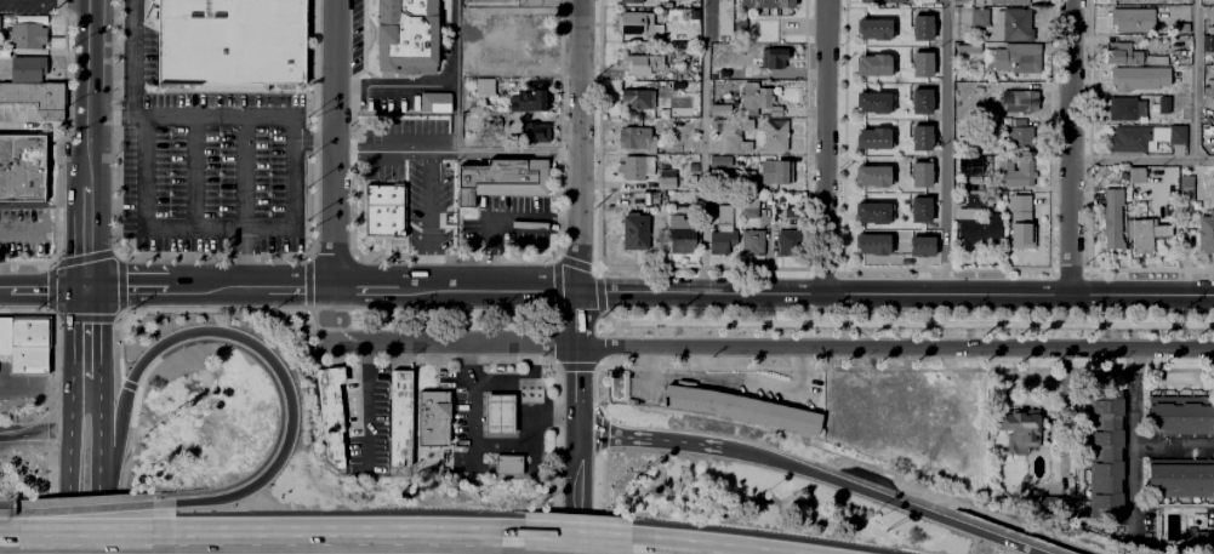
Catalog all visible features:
building: (631, 0)
building: (659, 0)
building: (883, 1)
building: (925, 1)
building: (1004, 2)
building: (766, 4)
road: (132, 15)
building: (725, 17)
building: (1133, 21)
building: (1005, 22)
building: (634, 23)
building: (873, 29)
building: (922, 29)
building: (404, 34)
building: (29, 35)
building: (229, 42)
building: (1208, 42)
road: (86, 45)
building: (961, 47)
building: (1118, 53)
building: (773, 58)
building: (1155, 58)
building: (1011, 59)
building: (644, 64)
building: (748, 65)
building: (873, 65)
building: (922, 65)
building: (28, 68)
road: (131, 70)
road: (456, 75)
building: (1139, 79)
road: (1193, 79)
road: (394, 85)
building: (485, 87)
building: (671, 87)
building: (34, 93)
building: (638, 96)
building: (936, 98)
building: (526, 99)
building: (760, 99)
building: (1020, 101)
building: (432, 102)
building: (921, 102)
building: (872, 103)
building: (1164, 105)
building: (1125, 108)
building: (662, 110)
building: (720, 110)
road: (114, 113)
road: (44, 127)
building: (489, 128)
building: (534, 133)
building: (936, 135)
building: (1176, 135)
building: (1207, 135)
building: (734, 136)
building: (774, 136)
building: (1020, 137)
road: (87, 138)
building: (636, 138)
building: (873, 138)
building: (922, 138)
road: (312, 139)
building: (1129, 139)
road: (580, 144)
road: (703, 145)
road: (823, 145)
road: (945, 145)
road: (1071, 145)
road: (456, 150)
road: (1142, 159)
building: (969, 166)
building: (637, 169)
building: (22, 170)
road: (194, 170)
road: (332, 170)
road: (243, 171)
building: (934, 171)
building: (1022, 171)
parking lot: (218, 173)
building: (776, 173)
building: (921, 175)
building: (1136, 175)
building: (872, 176)
building: (502, 179)
building: (667, 179)
building: (751, 179)
building: (1186, 188)
building: (393, 190)
building: (668, 195)
building: (975, 200)
road: (142, 202)
parking lot: (432, 204)
building: (921, 210)
building: (872, 212)
building: (750, 213)
building: (791, 213)
building: (968, 213)
building: (381, 218)
road: (428, 218)
building: (724, 218)
building: (1113, 218)
building: (682, 222)
road: (502, 223)
building: (1020, 223)
road: (24, 230)
road: (68, 230)
building: (1165, 230)
building: (633, 233)
building: (1206, 233)
building: (979, 234)
building: (1141, 235)
road: (87, 236)
building: (722, 242)
building: (752, 242)
building: (787, 244)
building: (871, 245)
building: (922, 246)
building: (680, 249)
road: (244, 255)
road: (330, 256)
road: (81, 257)
road: (209, 257)
road: (455, 257)
road: (572, 262)
road: (594, 267)
road: (701, 267)
road: (823, 267)
road: (945, 268)
road: (1067, 268)
road: (1147, 269)
road: (120, 284)
road: (126, 284)
road: (218, 284)
road: (307, 284)
road: (301, 285)
traffic signals: (87, 286)
road: (455, 286)
road: (555, 286)
road: (50, 287)
road: (50, 287)
road: (6, 289)
road: (895, 292)
road: (599, 295)
road: (177, 309)
road: (330, 309)
road: (462, 313)
road: (578, 315)
road: (85, 318)
park: (454, 318)
park: (908, 322)
road: (906, 324)
road: (611, 327)
building: (25, 343)
road: (250, 343)
road: (553, 343)
road: (771, 345)
road: (600, 347)
road: (97, 349)
road: (73, 354)
road: (53, 355)
road: (409, 358)
road: (697, 361)
road: (575, 366)
road: (597, 367)
road: (902, 367)
road: (731, 377)
building: (614, 378)
road: (127, 385)
road: (577, 387)
road: (365, 404)
building: (741, 410)
building: (329, 411)
building: (498, 413)
building: (435, 418)
building: (1182, 418)
building: (399, 419)
road: (50, 422)
road: (35, 429)
building: (1020, 432)
road: (656, 439)
road: (1133, 440)
road: (488, 444)
road: (1173, 449)
building: (1107, 456)
road: (765, 458)
building: (506, 467)
road: (121, 470)
building: (1181, 479)
road: (98, 484)
road: (70, 490)
road: (577, 492)
road: (49, 499)
building: (1055, 506)
road: (87, 509)
road: (919, 510)
road: (86, 536)
road: (346, 537)
building: (1204, 541)
road: (576, 542)
road: (667, 549)

